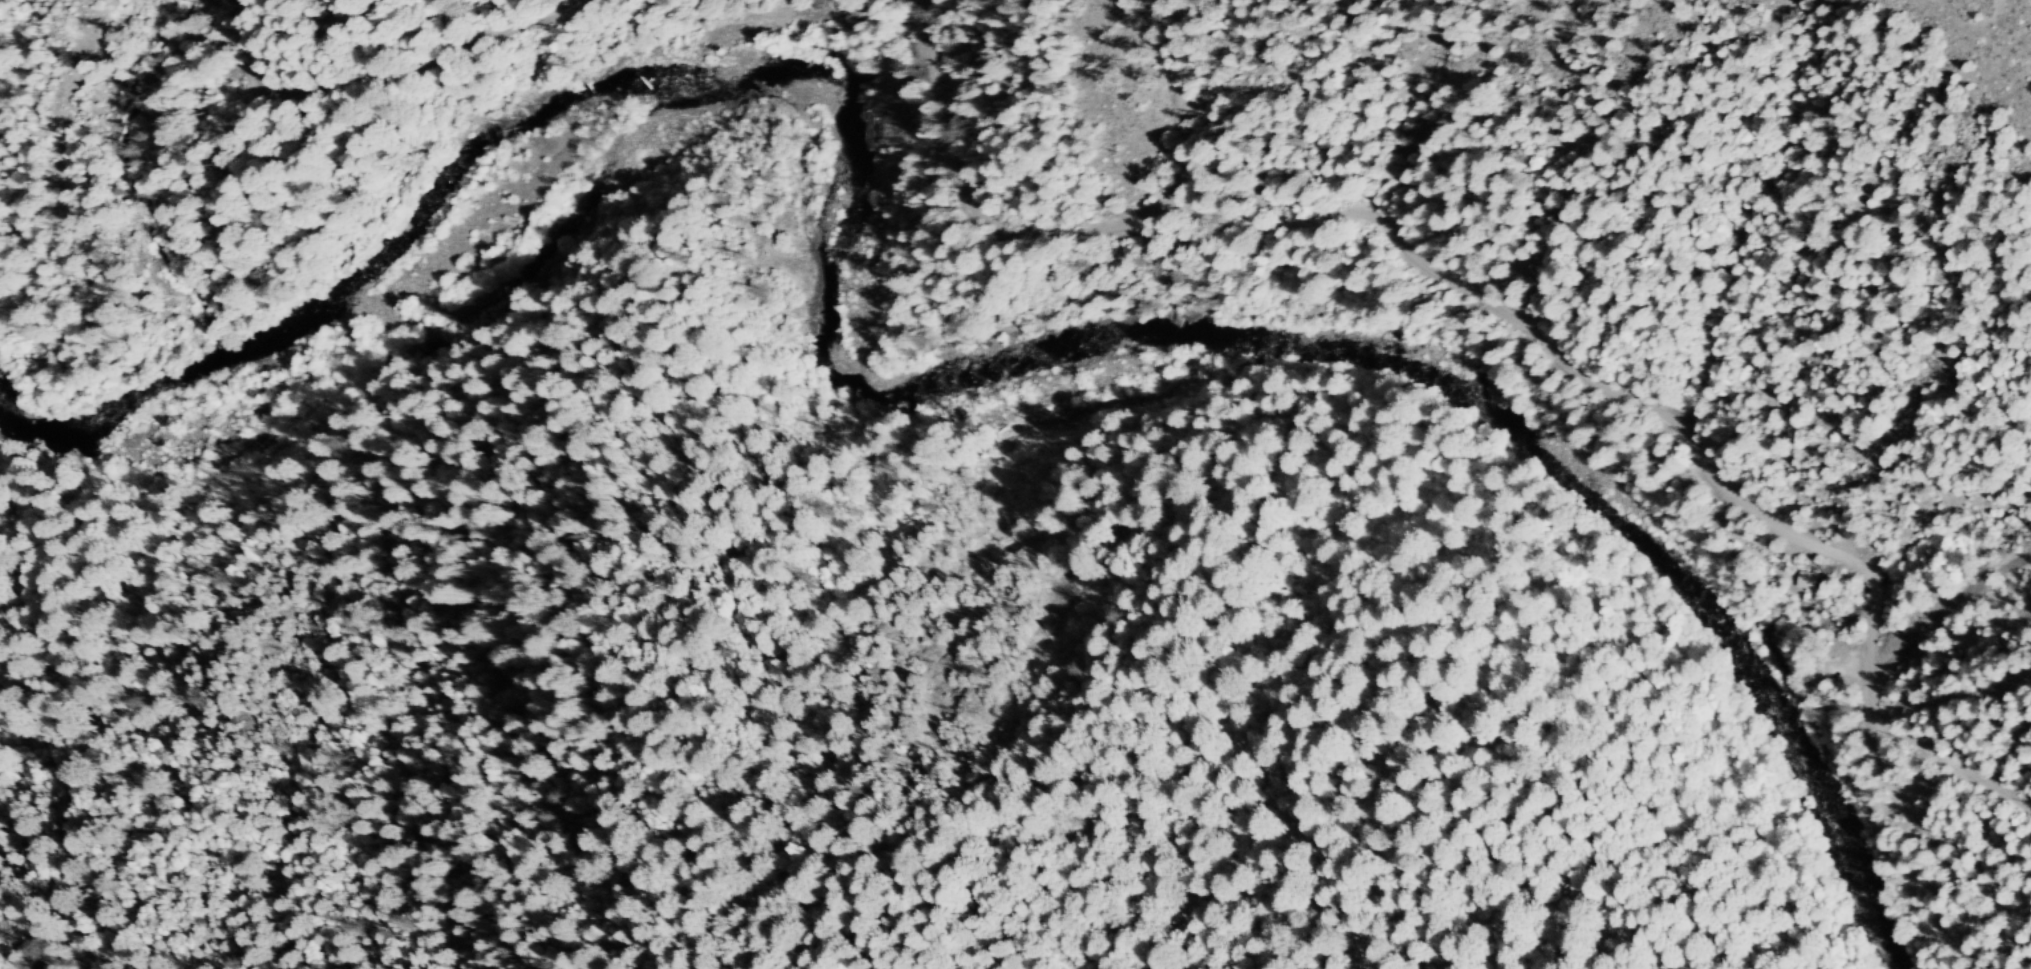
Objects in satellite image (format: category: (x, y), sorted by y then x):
road: (389, 72)
road: (1371, 216)
river: (898, 391)
building: (1808, 580)
road: (1873, 582)
road: (1946, 612)
road: (1894, 777)

